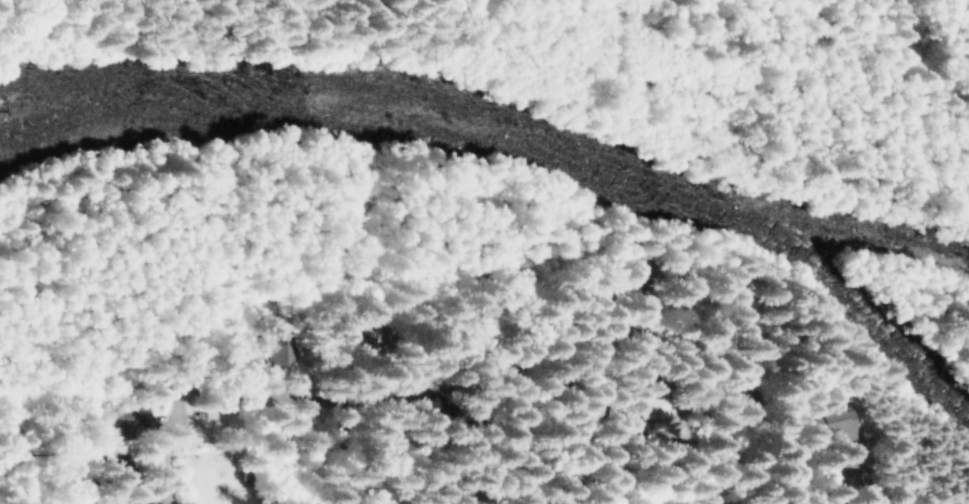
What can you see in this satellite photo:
river: (500, 134)
building: (635, 278)
building: (743, 307)
building: (357, 334)
building: (258, 346)
road: (674, 351)
building: (270, 358)
road: (235, 398)
building: (657, 402)
building: (124, 421)
building: (283, 423)
building: (827, 423)
road: (498, 442)
road: (193, 446)
road: (358, 450)
building: (124, 472)
building: (129, 500)

